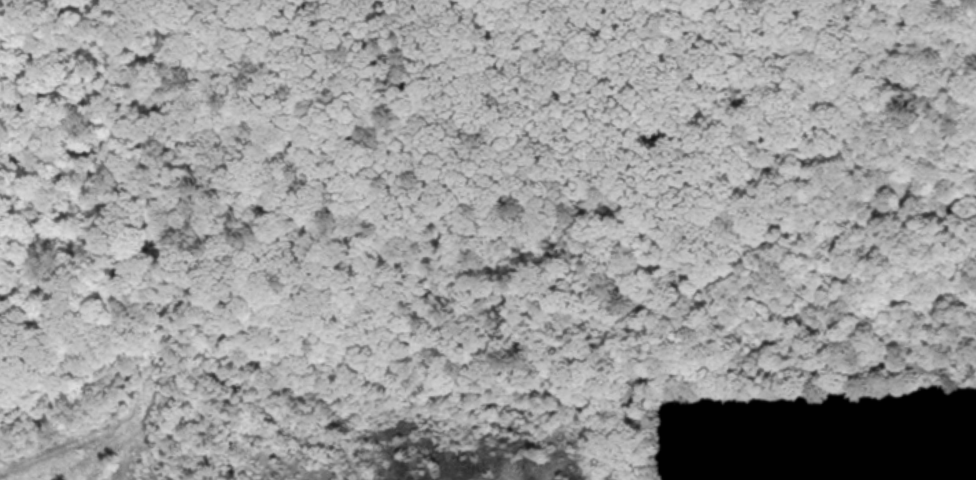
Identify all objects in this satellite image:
park: (478, 179)

